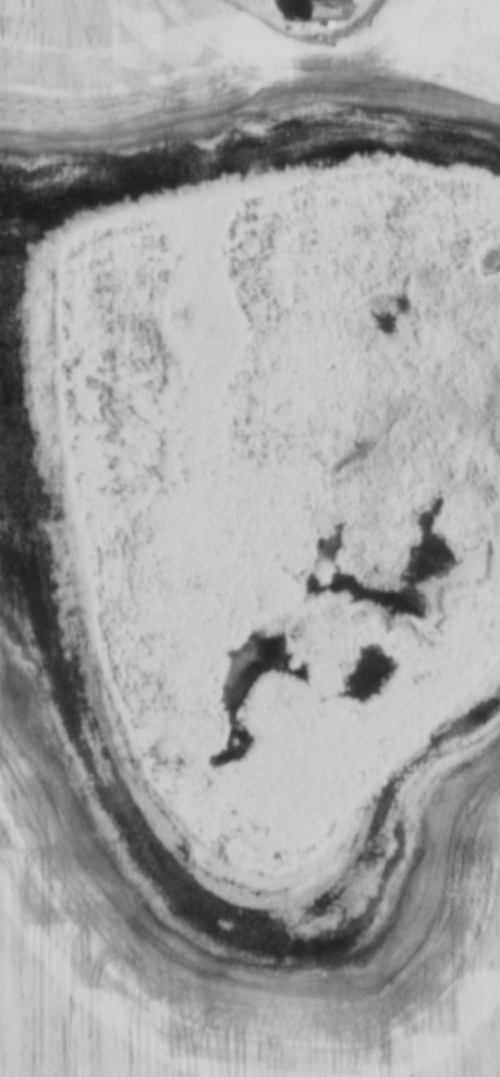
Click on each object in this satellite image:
building: (315, 10)

